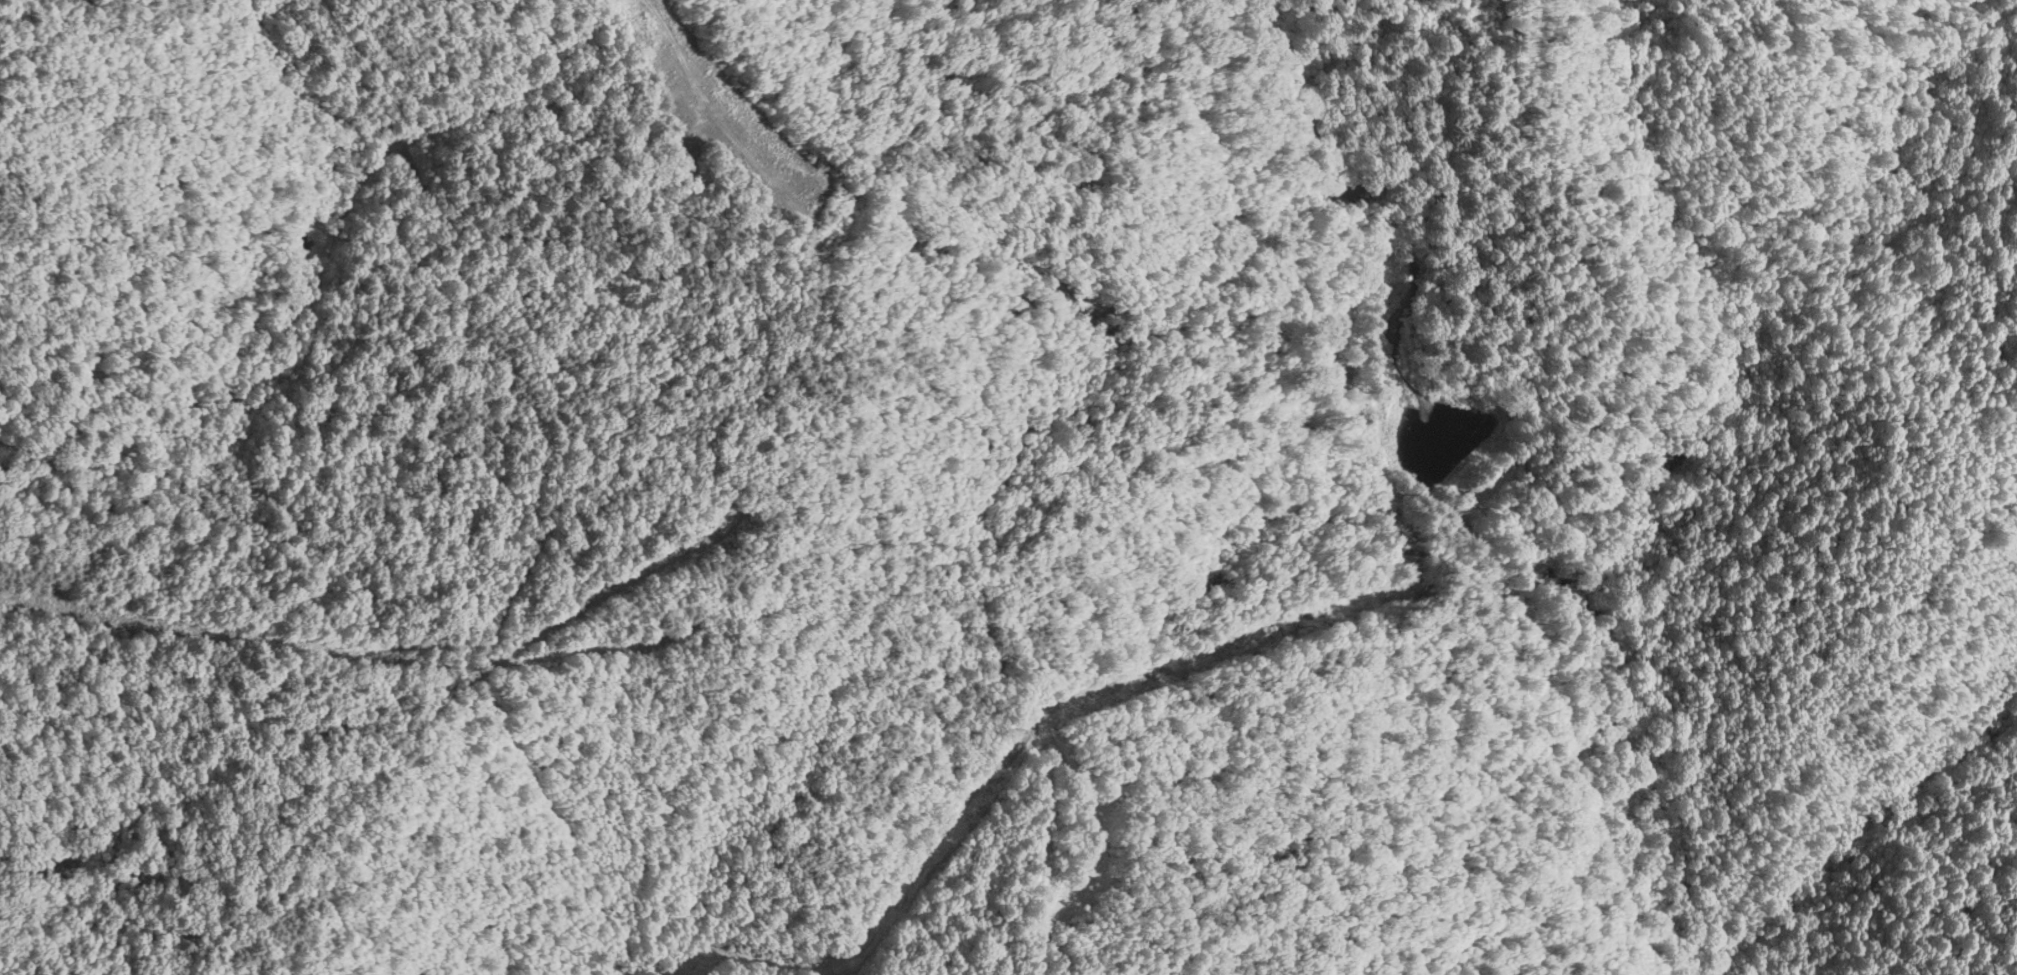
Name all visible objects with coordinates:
building: (1320, 359)
park: (830, 467)

